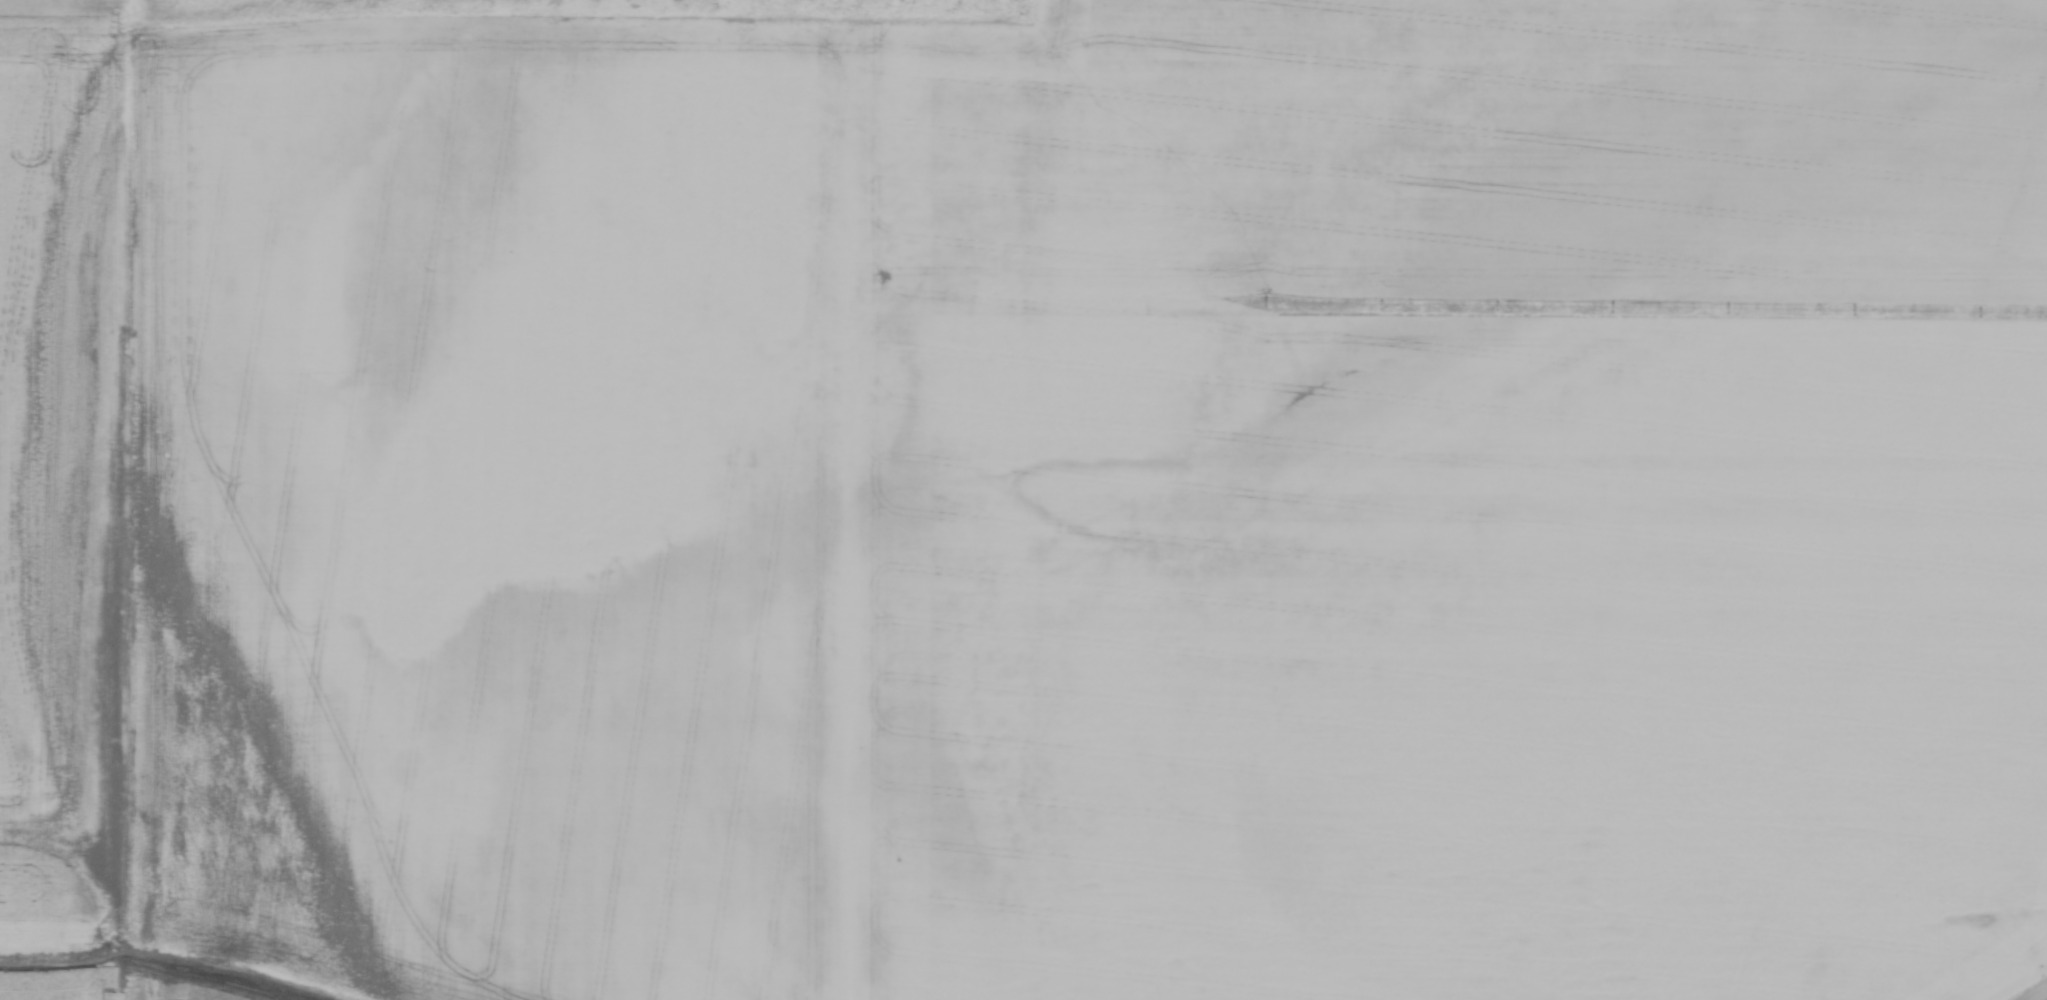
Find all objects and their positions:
road: (2044, 998)

